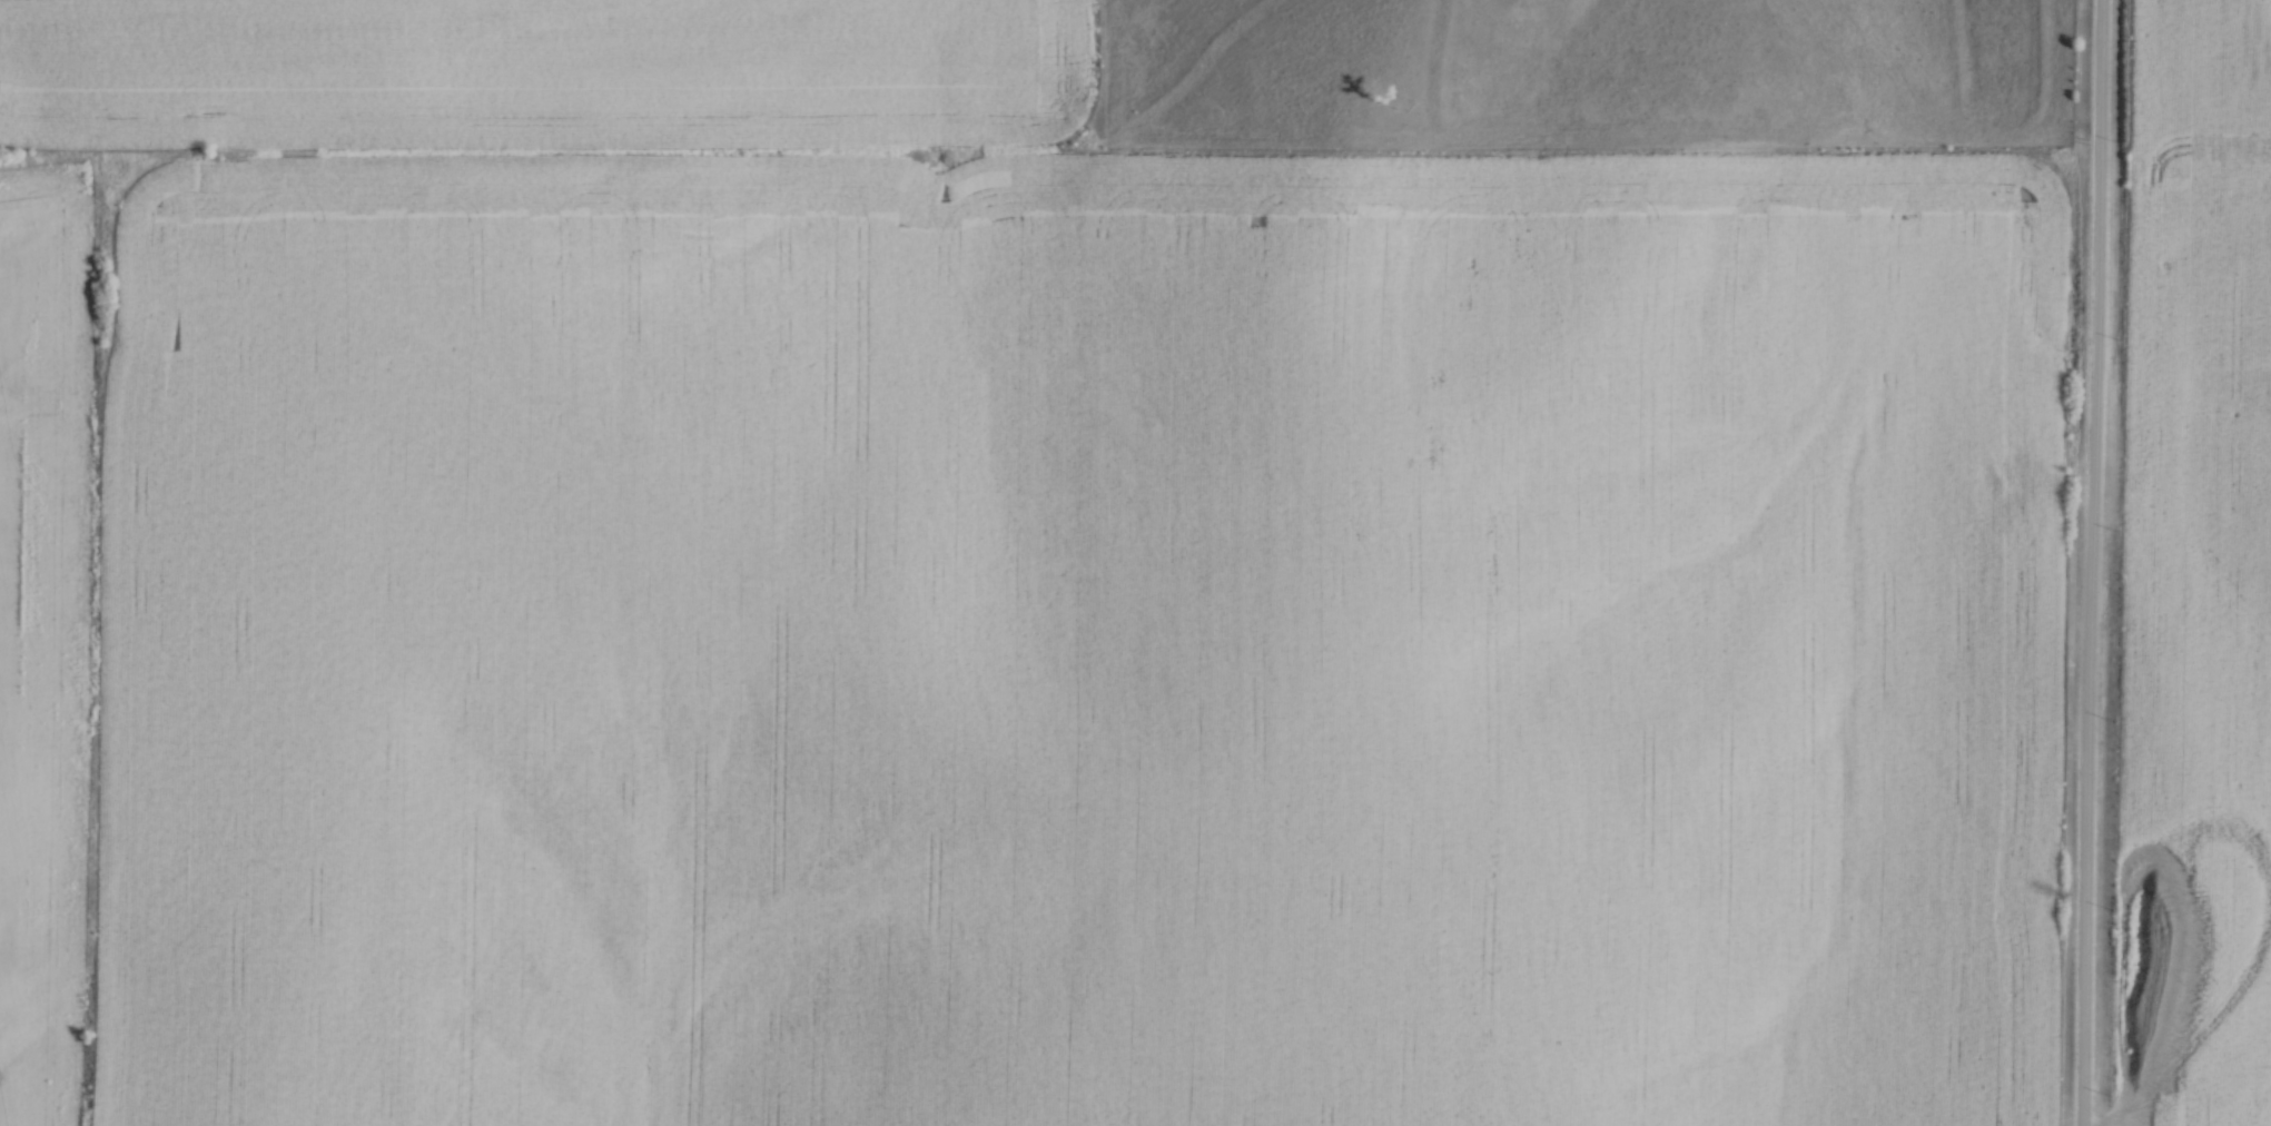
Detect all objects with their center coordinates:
road: (2092, 563)

